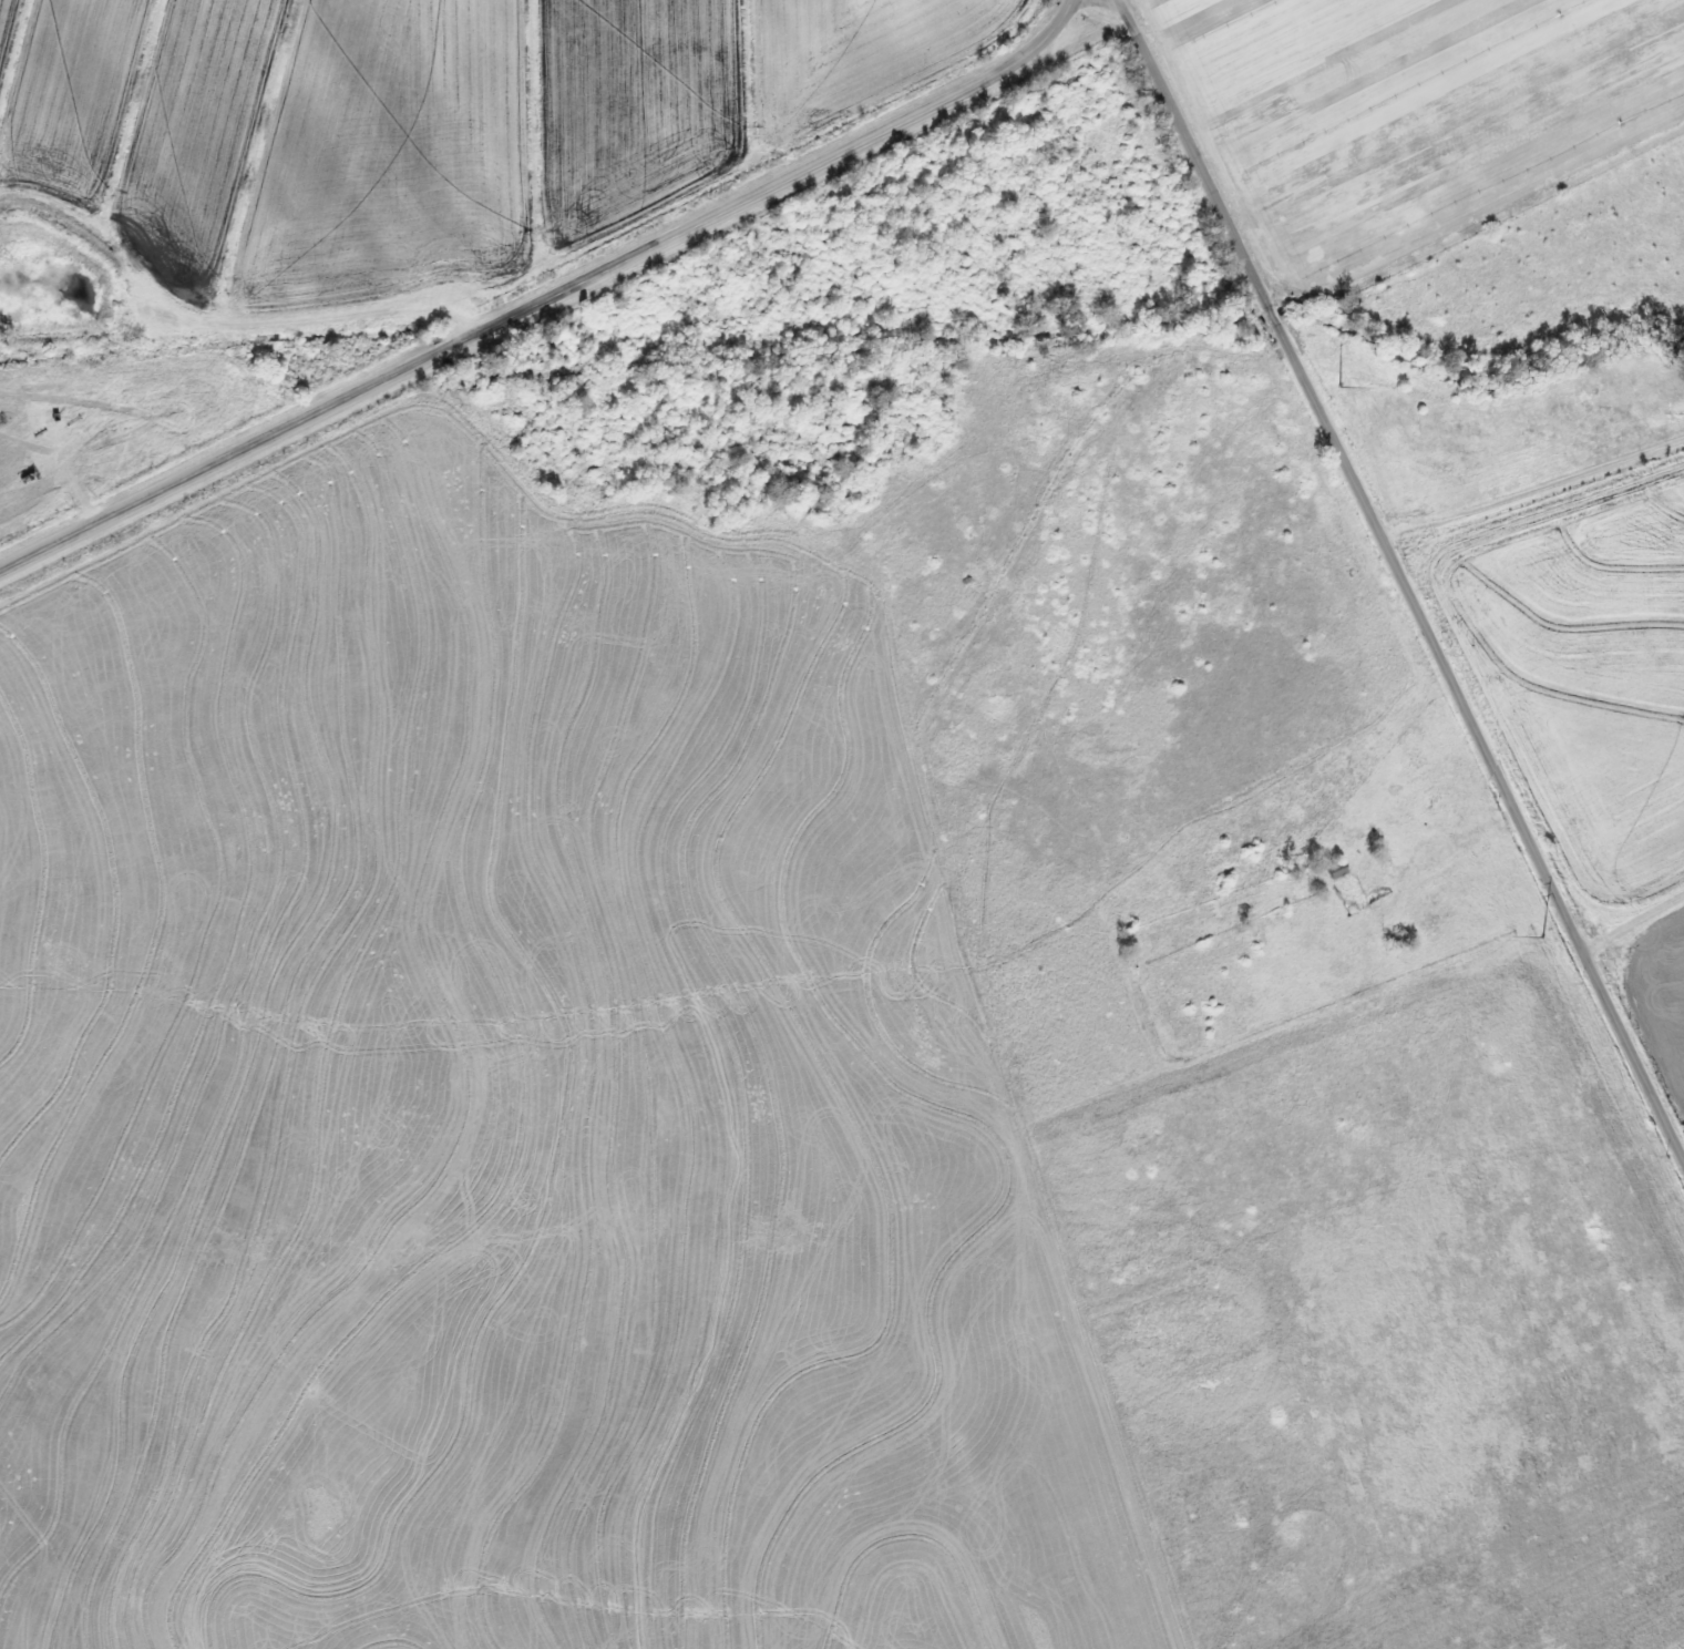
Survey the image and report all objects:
road: (545, 298)
power tower: (1331, 389)
road: (1401, 572)
power tower: (1540, 935)

